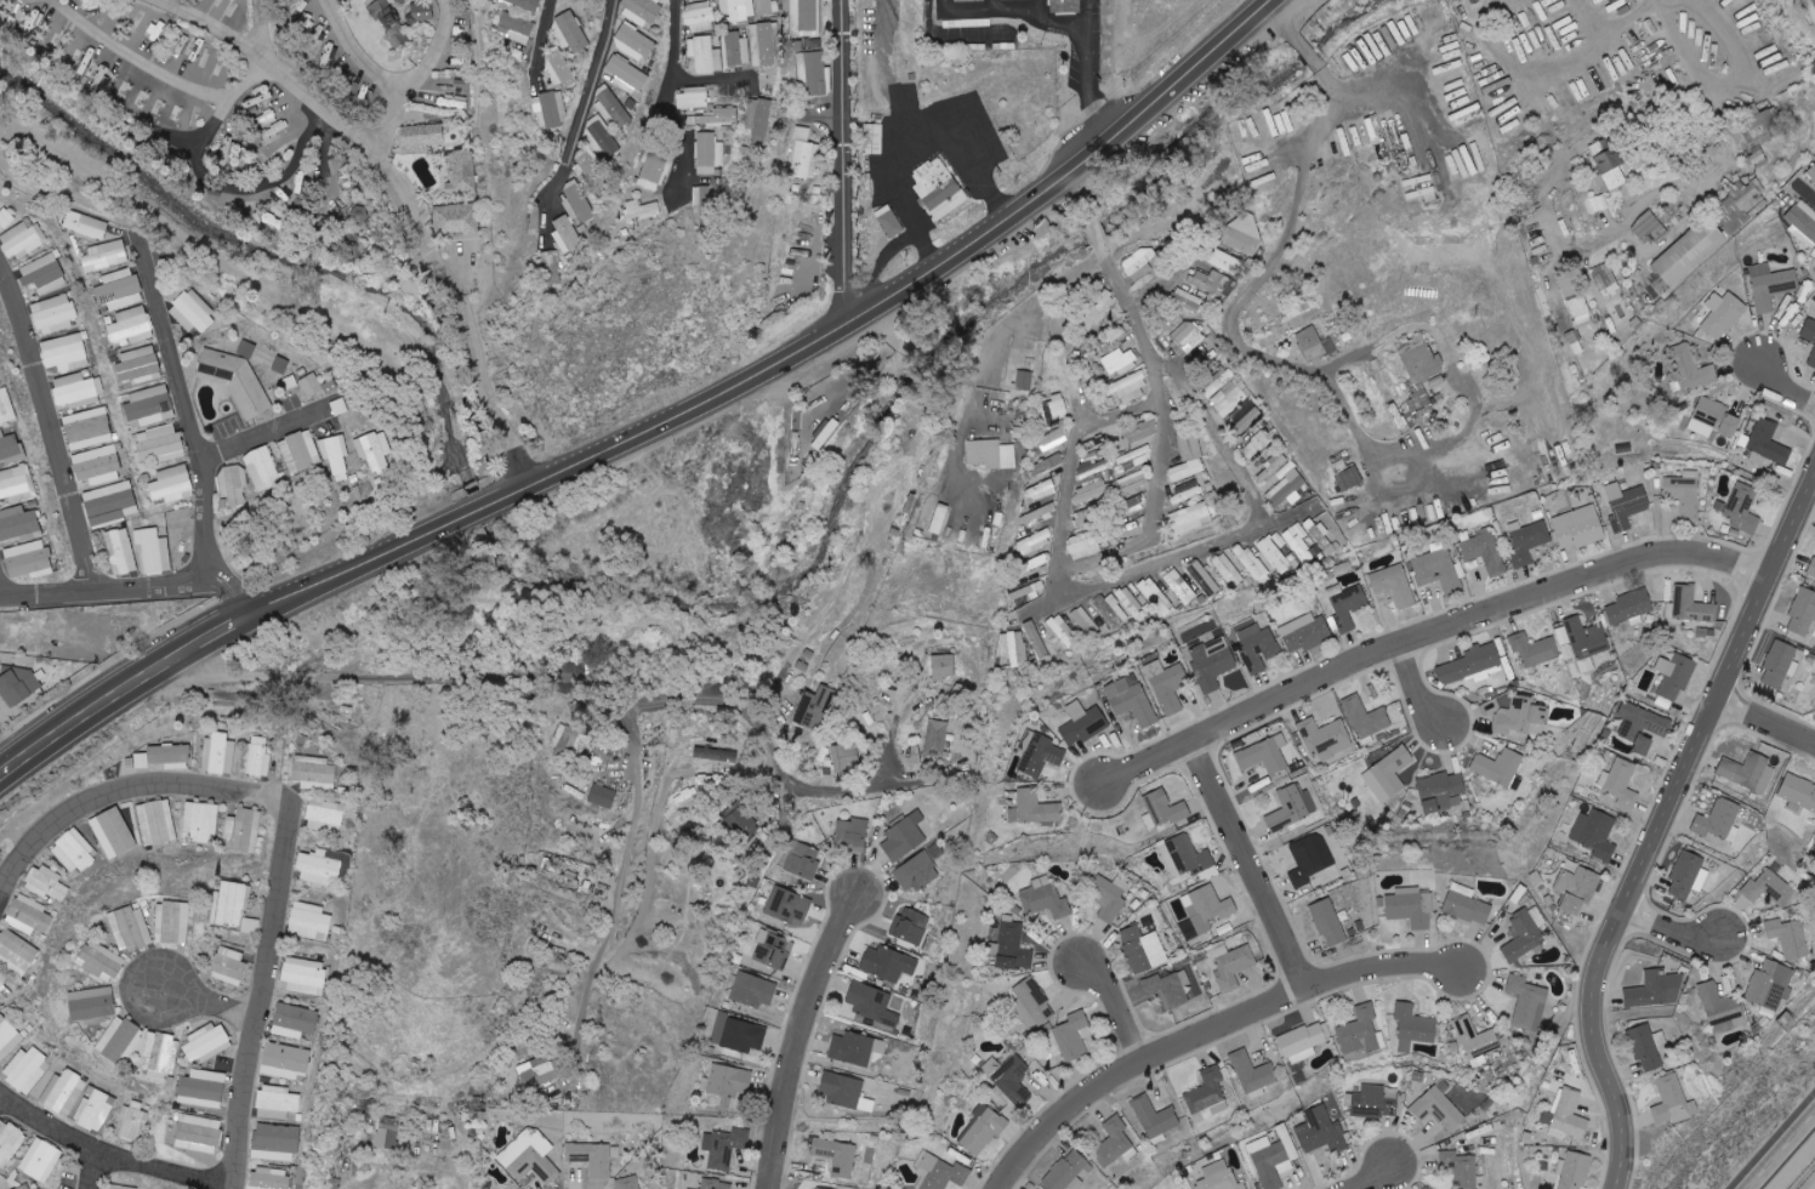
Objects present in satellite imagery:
building: (702, 0)
building: (524, 4)
building: (1066, 5)
building: (769, 7)
building: (1810, 7)
road: (1017, 10)
building: (641, 11)
building: (738, 11)
road: (1088, 13)
building: (385, 15)
building: (806, 18)
building: (700, 19)
road: (1586, 19)
road: (1622, 21)
road: (260, 27)
building: (516, 28)
road: (577, 28)
building: (570, 32)
building: (398, 38)
building: (633, 42)
road: (745, 42)
building: (764, 45)
road: (358, 49)
building: (736, 52)
building: (705, 56)
road: (141, 59)
road: (888, 63)
road: (275, 67)
building: (559, 68)
building: (812, 73)
road: (417, 74)
road: (1509, 74)
building: (626, 75)
road: (1716, 85)
road: (1092, 87)
building: (692, 99)
road: (682, 101)
building: (613, 109)
building: (551, 112)
road: (585, 114)
building: (724, 118)
road: (915, 120)
building: (759, 121)
building: (1758, 130)
building: (422, 135)
building: (604, 138)
building: (872, 140)
building: (709, 155)
building: (804, 155)
road: (850, 163)
building: (588, 166)
building: (1608, 167)
building: (462, 172)
building: (654, 172)
building: (1811, 175)
road: (223, 178)
building: (938, 188)
road: (1665, 189)
road: (1807, 192)
building: (704, 199)
building: (579, 205)
building: (641, 212)
building: (6, 218)
building: (456, 218)
building: (363, 220)
building: (1802, 221)
building: (889, 222)
building: (86, 224)
road: (422, 224)
building: (1651, 229)
building: (567, 235)
building: (23, 239)
building: (1240, 241)
building: (1690, 252)
building: (106, 256)
building: (1225, 262)
building: (1139, 264)
building: (552, 268)
building: (42, 274)
building: (1605, 280)
building: (1211, 281)
road: (1252, 281)
building: (1771, 286)
building: (119, 290)
building: (1188, 300)
building: (1575, 301)
building: (1098, 311)
building: (55, 313)
building: (193, 313)
building: (1723, 314)
road: (1015, 322)
building: (131, 325)
building: (1809, 331)
building: (1187, 339)
building: (1314, 345)
building: (247, 348)
building: (64, 352)
road: (1160, 359)
building: (1811, 359)
building: (1119, 362)
building: (280, 364)
building: (138, 365)
road: (482, 366)
building: (1691, 370)
building: (1421, 375)
building: (235, 380)
building: (1024, 380)
road: (1780, 380)
building: (1218, 381)
building: (311, 385)
building: (1130, 387)
building: (76, 391)
building: (1228, 400)
building: (6, 406)
building: (149, 406)
building: (1054, 409)
building: (1717, 416)
road: (195, 417)
building: (1245, 419)
road: (660, 423)
building: (87, 428)
road: (52, 429)
building: (1139, 433)
road: (263, 434)
building: (1189, 443)
building: (1259, 443)
building: (1768, 443)
building: (159, 444)
road: (1076, 446)
building: (10, 448)
building: (375, 450)
building: (300, 451)
building: (991, 454)
building: (335, 455)
building: (97, 465)
building: (262, 468)
building: (1187, 470)
building: (1349, 478)
building: (233, 483)
building: (1131, 483)
building: (172, 484)
building: (1286, 488)
building: (1041, 490)
building: (1185, 493)
building: (108, 502)
building: (1742, 508)
building: (1190, 518)
building: (938, 519)
road: (1155, 519)
building: (18, 524)
building: (1580, 528)
building: (1298, 540)
building: (1526, 540)
building: (1035, 542)
building: (1087, 544)
building: (120, 551)
building: (153, 552)
building: (1485, 552)
building: (1274, 553)
building: (28, 559)
building: (1252, 563)
road: (1180, 564)
building: (1813, 568)
building: (1228, 569)
building: (1438, 570)
building: (1204, 578)
building: (1394, 585)
building: (1179, 586)
road: (2, 591)
building: (1028, 591)
road: (141, 592)
road: (1776, 594)
building: (1156, 596)
building: (1132, 604)
building: (1691, 605)
building: (1347, 608)
building: (1631, 608)
building: (1113, 610)
building: (1803, 613)
building: (1086, 621)
building: (1031, 630)
building: (1307, 632)
road: (1429, 636)
building: (1581, 639)
building: (1013, 648)
building: (1258, 648)
building: (1534, 649)
building: (1212, 662)
building: (1780, 664)
building: (1472, 665)
building: (943, 667)
building: (1674, 675)
road: (780, 684)
building: (1167, 685)
building: (19, 687)
building: (1120, 687)
road: (1419, 687)
road: (577, 688)
road: (1401, 690)
building: (1136, 706)
road: (1775, 707)
building: (815, 709)
building: (1521, 717)
building: (1366, 719)
building: (1083, 723)
road: (1765, 723)
building: (1642, 726)
road: (1766, 734)
building: (937, 738)
building: (1325, 738)
building: (569, 741)
road: (8, 753)
building: (220, 753)
building: (1039, 753)
building: (716, 755)
building: (1264, 755)
building: (169, 756)
road: (1115, 756)
building: (257, 757)
building: (849, 758)
building: (1498, 767)
building: (314, 773)
building: (1749, 773)
building: (1388, 774)
building: (1620, 785)
building: (1441, 791)
building: (1798, 792)
building: (602, 796)
building: (1292, 807)
building: (1034, 808)
building: (1163, 809)
building: (326, 817)
building: (201, 820)
building: (740, 820)
building: (1718, 820)
building: (157, 823)
road: (297, 824)
road: (1661, 824)
building: (244, 830)
building: (113, 832)
building: (852, 832)
building: (1595, 834)
building: (905, 837)
building: (74, 852)
building: (1188, 858)
building: (1310, 859)
building: (802, 860)
road: (1253, 865)
building: (318, 869)
building: (916, 872)
building: (1686, 875)
building: (46, 883)
building: (1577, 888)
building: (1769, 888)
building: (1109, 898)
building: (1047, 901)
road: (619, 903)
building: (232, 904)
building: (789, 905)
building: (1467, 905)
building: (1411, 906)
building: (1207, 909)
building: (29, 915)
building: (309, 922)
building: (1328, 922)
building: (250, 926)
building: (911, 926)
building: (130, 928)
road: (1669, 929)
building: (1524, 935)
building: (1788, 938)
building: (1013, 946)
building: (1143, 949)
building: (17, 952)
building: (99, 961)
building: (888, 963)
road: (1722, 965)
building: (229, 966)
building: (1231, 966)
building: (305, 975)
building: (2, 980)
building: (1770, 985)
building: (1170, 988)
building: (753, 990)
building: (1656, 990)
building: (1032, 1002)
building: (871, 1003)
road: (1119, 1003)
building: (1527, 1003)
road: (211, 1005)
building: (91, 1006)
building: (1720, 1008)
building: (294, 1020)
building: (1413, 1026)
road: (810, 1030)
road: (1213, 1030)
building: (741, 1034)
building: (1361, 1035)
building: (1072, 1037)
building: (8, 1039)
building: (120, 1040)
building: (1477, 1041)
building: (1302, 1042)
building: (206, 1043)
building: (1646, 1046)
building: (855, 1048)
building: (160, 1053)
building: (286, 1062)
building: (28, 1069)
building: (541, 1071)
building: (1253, 1075)
building: (1013, 1081)
building: (728, 1083)
building: (203, 1088)
building: (63, 1092)
building: (844, 1092)
building: (1208, 1093)
road: (4, 1098)
building: (1672, 1102)
building: (277, 1103)
building: (1373, 1103)
building: (1439, 1106)
building: (95, 1109)
building: (1569, 1117)
building: (1156, 1120)
building: (133, 1121)
building: (387, 1132)
building: (984, 1132)
building: (1321, 1132)
building: (199, 1133)
road: (1381, 1137)
building: (8, 1143)
building: (275, 1143)
building: (1114, 1143)
building: (724, 1147)
road: (109, 1150)
building: (838, 1154)
building: (529, 1157)
building: (592, 1159)
building: (40, 1160)
building: (1082, 1164)
road: (1792, 1164)
building: (1460, 1168)
road: (104, 1170)
building: (1574, 1171)
building: (943, 1173)
building: (1219, 1177)
road: (1371, 1177)
building: (268, 1178)
building: (1064, 1178)
building: (1554, 1182)
building: (628, 1183)
building: (716, 1184)
building: (121, 1187)
building: (25, 1188)
building: (817, 1188)

